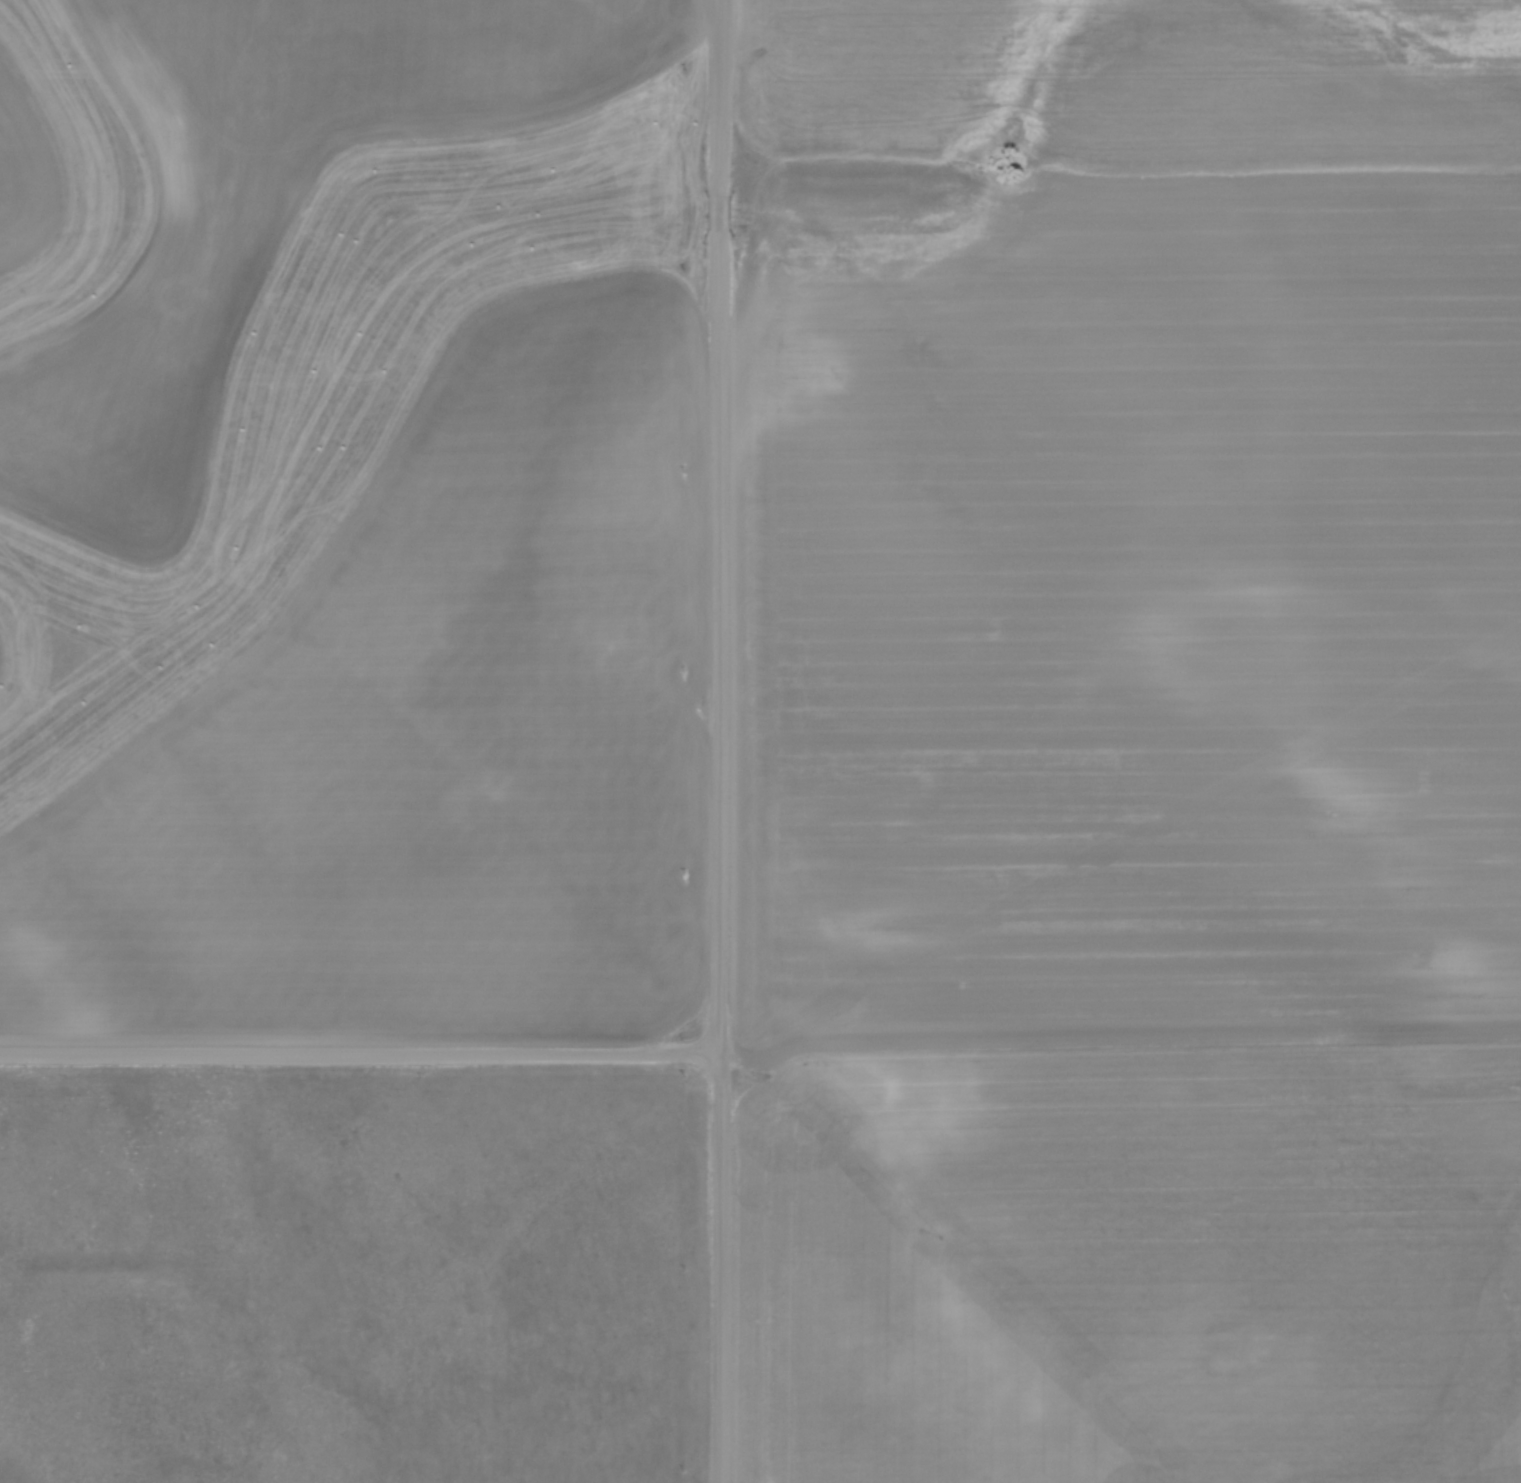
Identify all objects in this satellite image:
crop: (24, 178)
crop: (273, 201)
crop: (1, 660)
crop: (428, 732)
road: (719, 741)
crop: (1127, 743)
road: (359, 1052)

